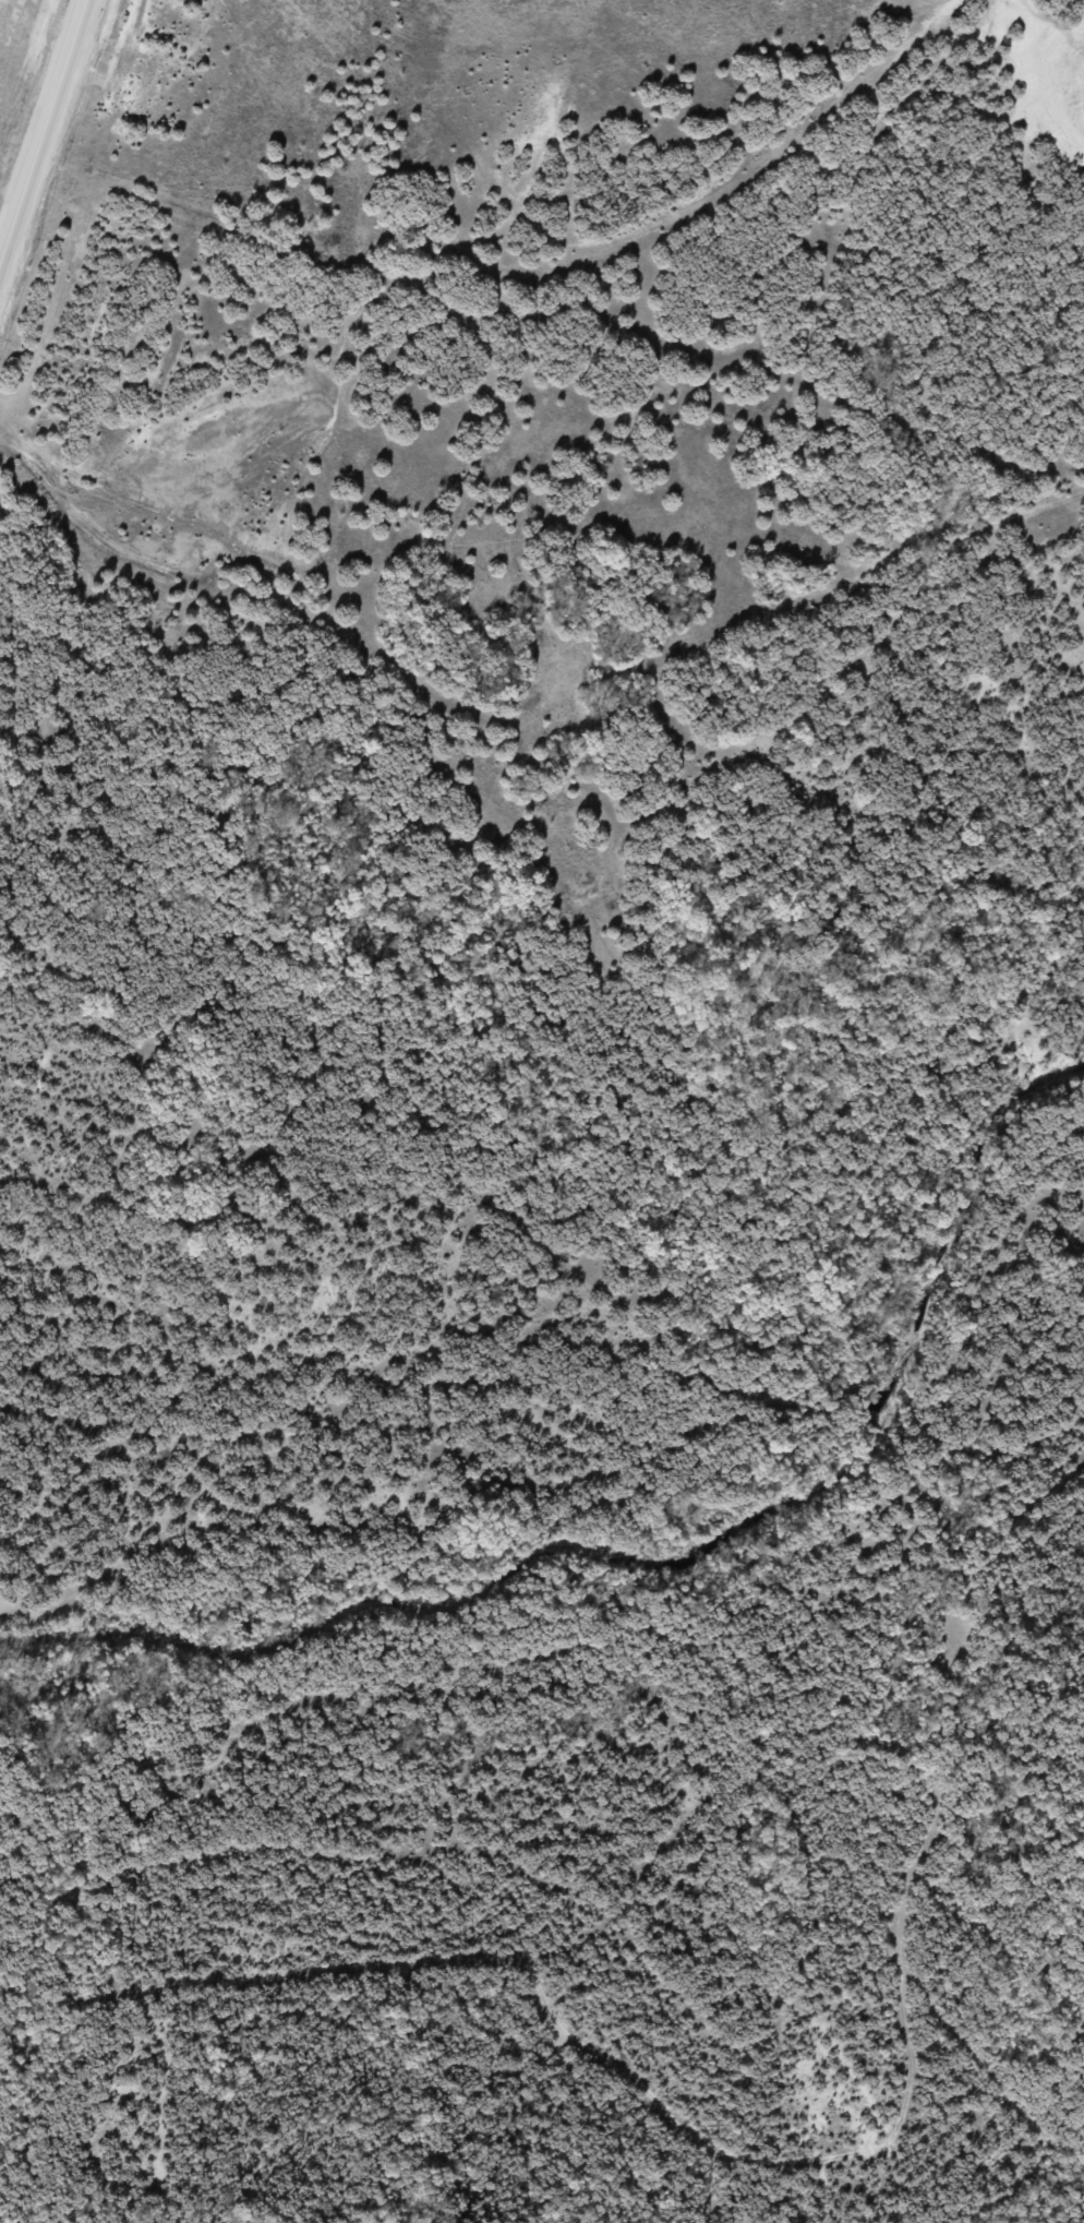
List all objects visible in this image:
road: (41, 130)

